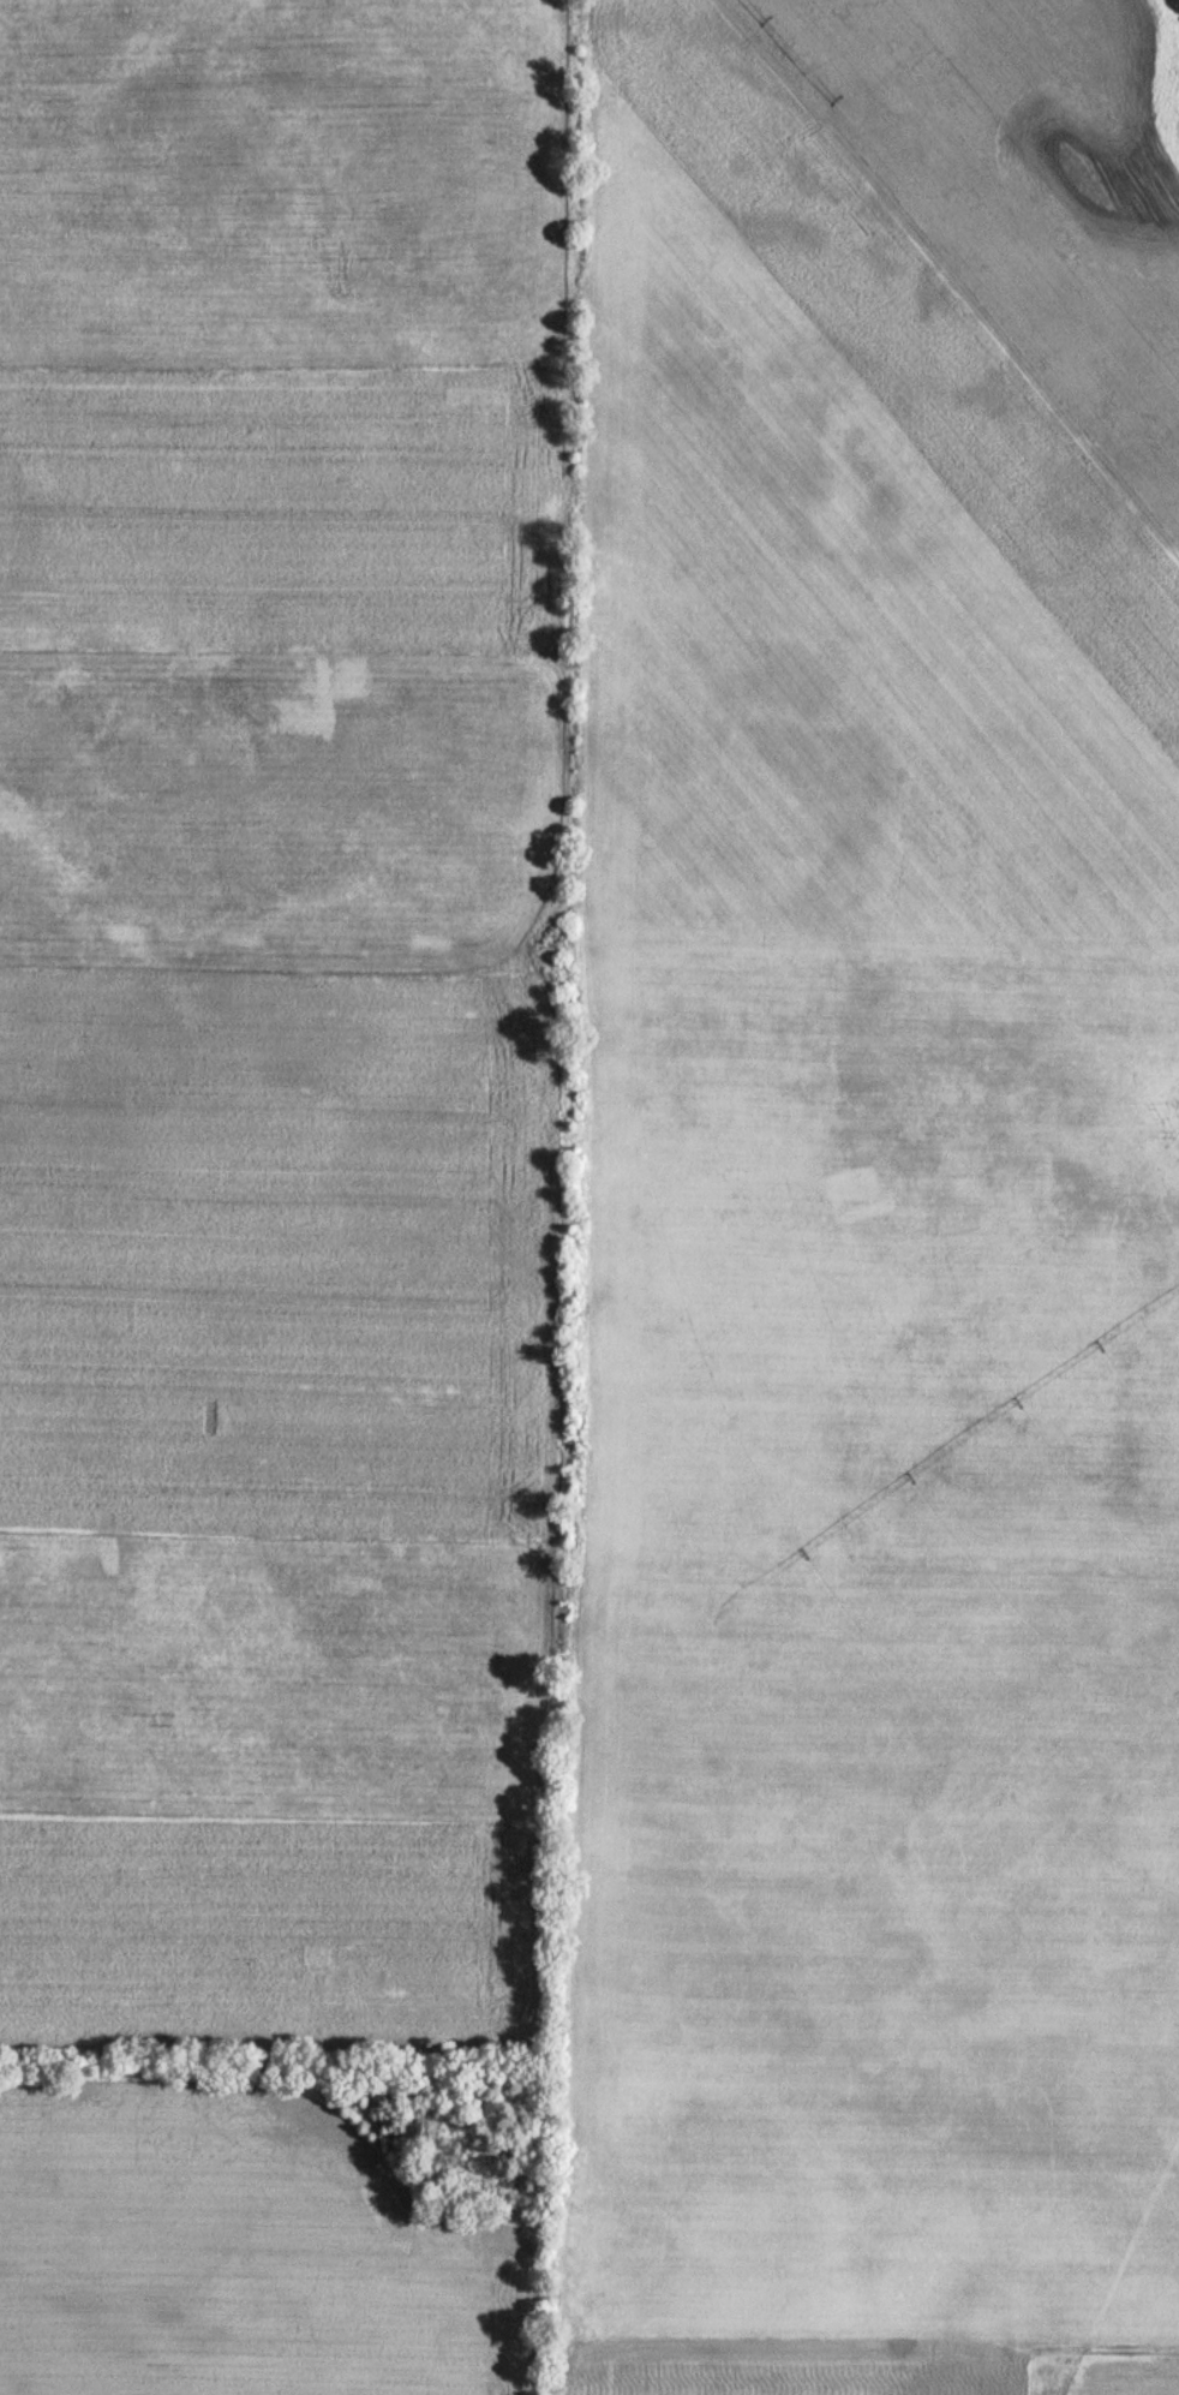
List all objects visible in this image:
road: (945, 273)

